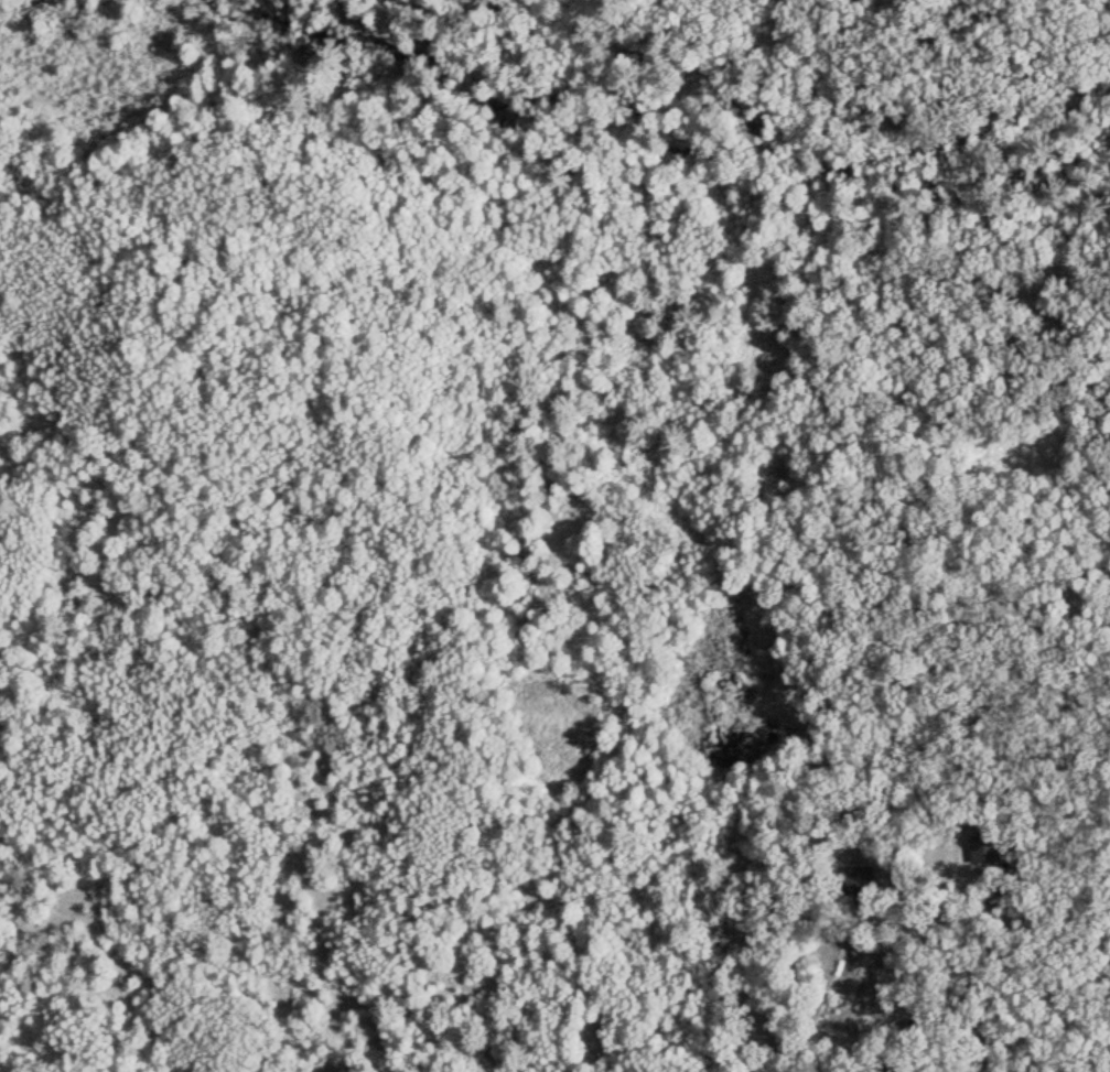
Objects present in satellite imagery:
road: (1082, 871)

